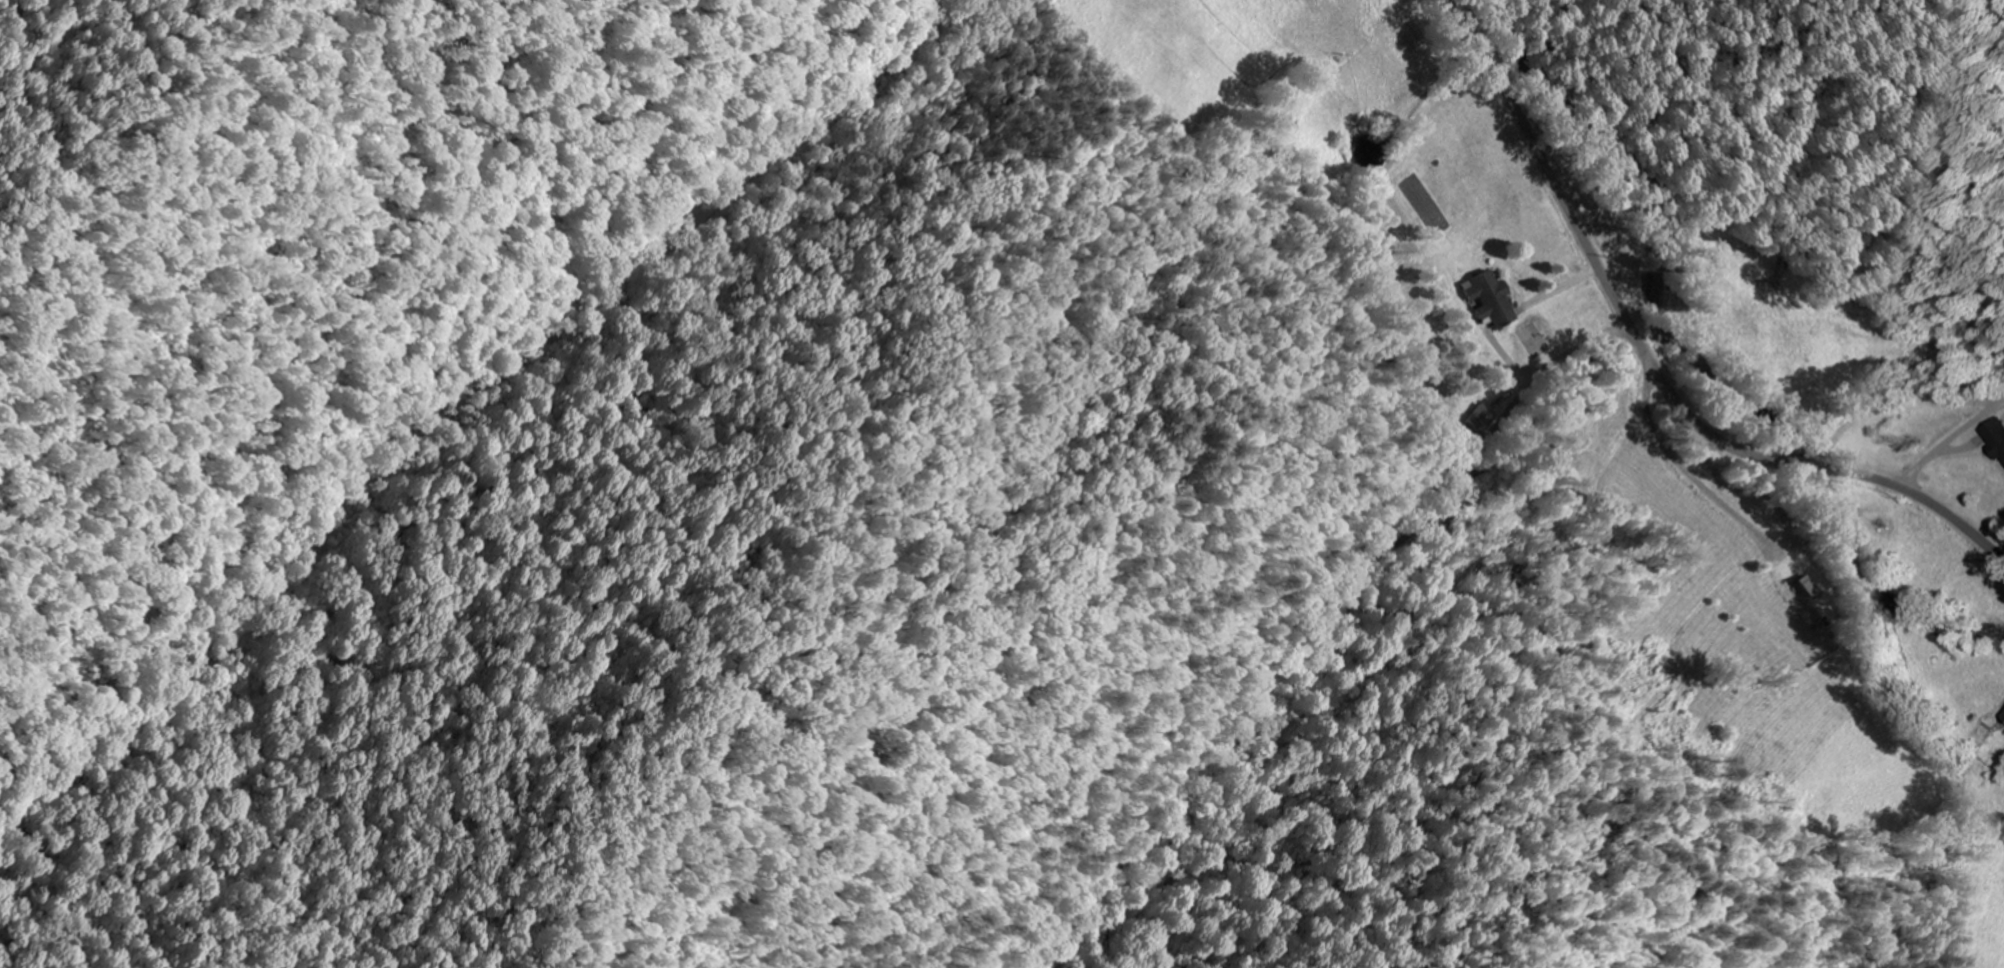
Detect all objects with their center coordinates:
building: (1488, 298)
road: (1649, 366)
building: (1482, 421)
building: (1995, 437)
building: (1800, 596)
building: (2003, 716)

